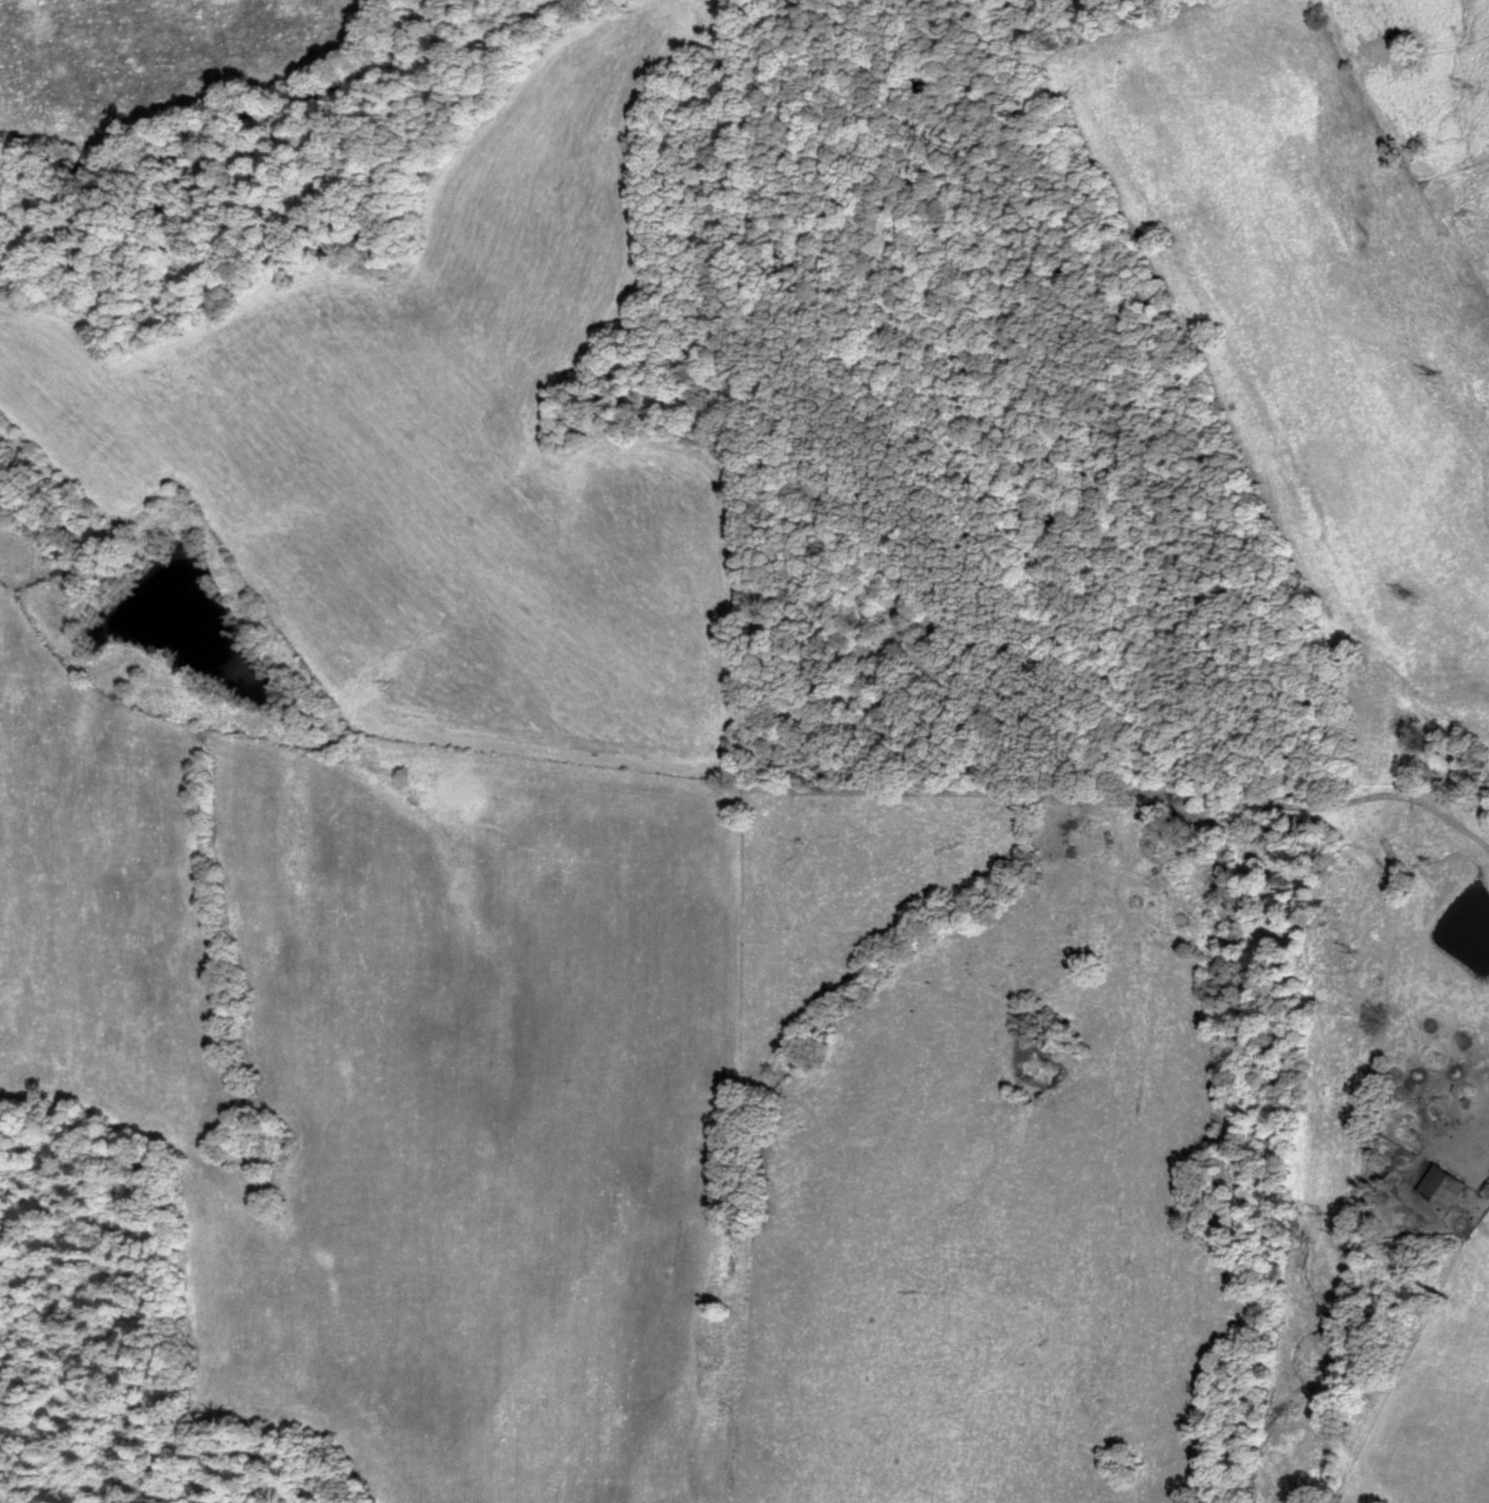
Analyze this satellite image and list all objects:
road: (1483, 1173)
building: (1444, 1187)

